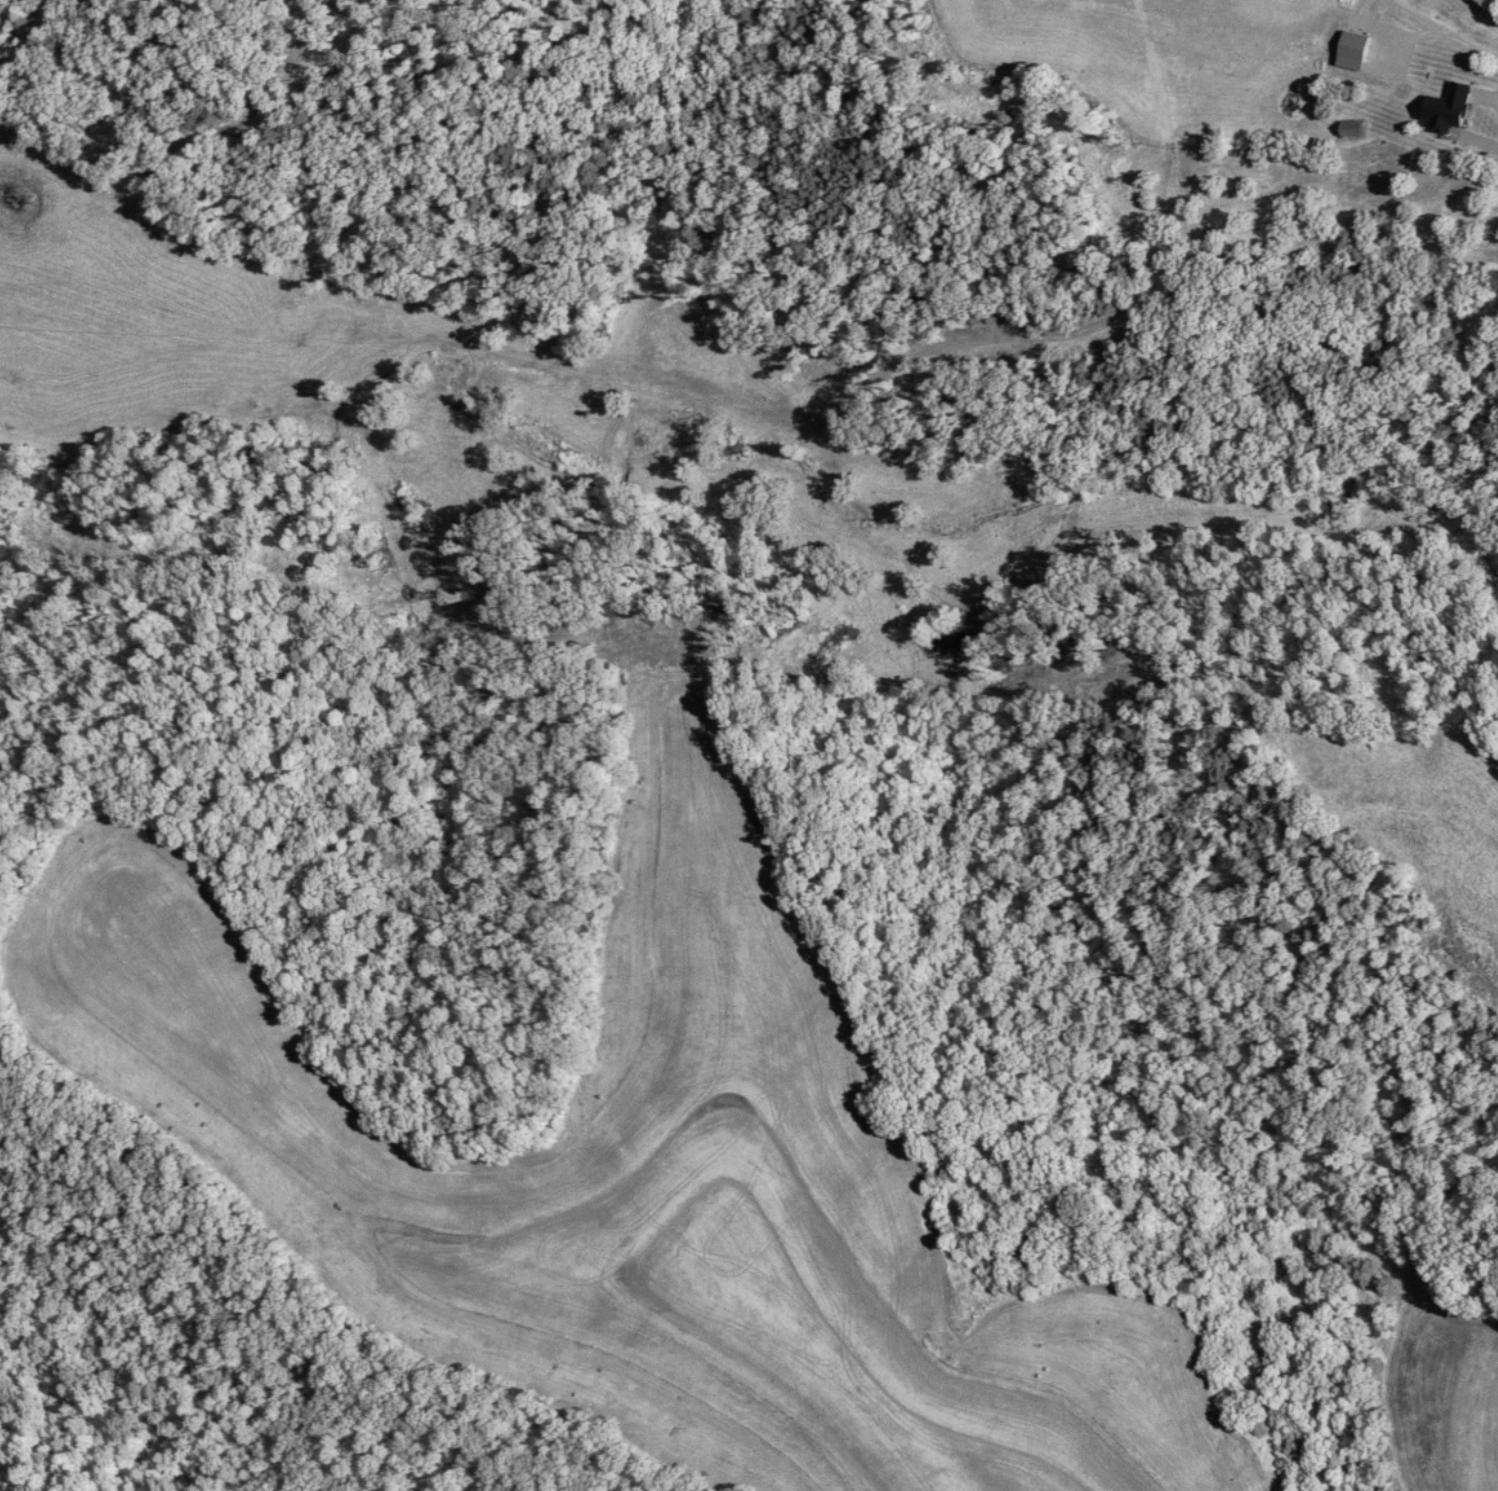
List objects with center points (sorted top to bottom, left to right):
road: (1440, 32)
building: (1447, 107)
building: (1356, 130)

